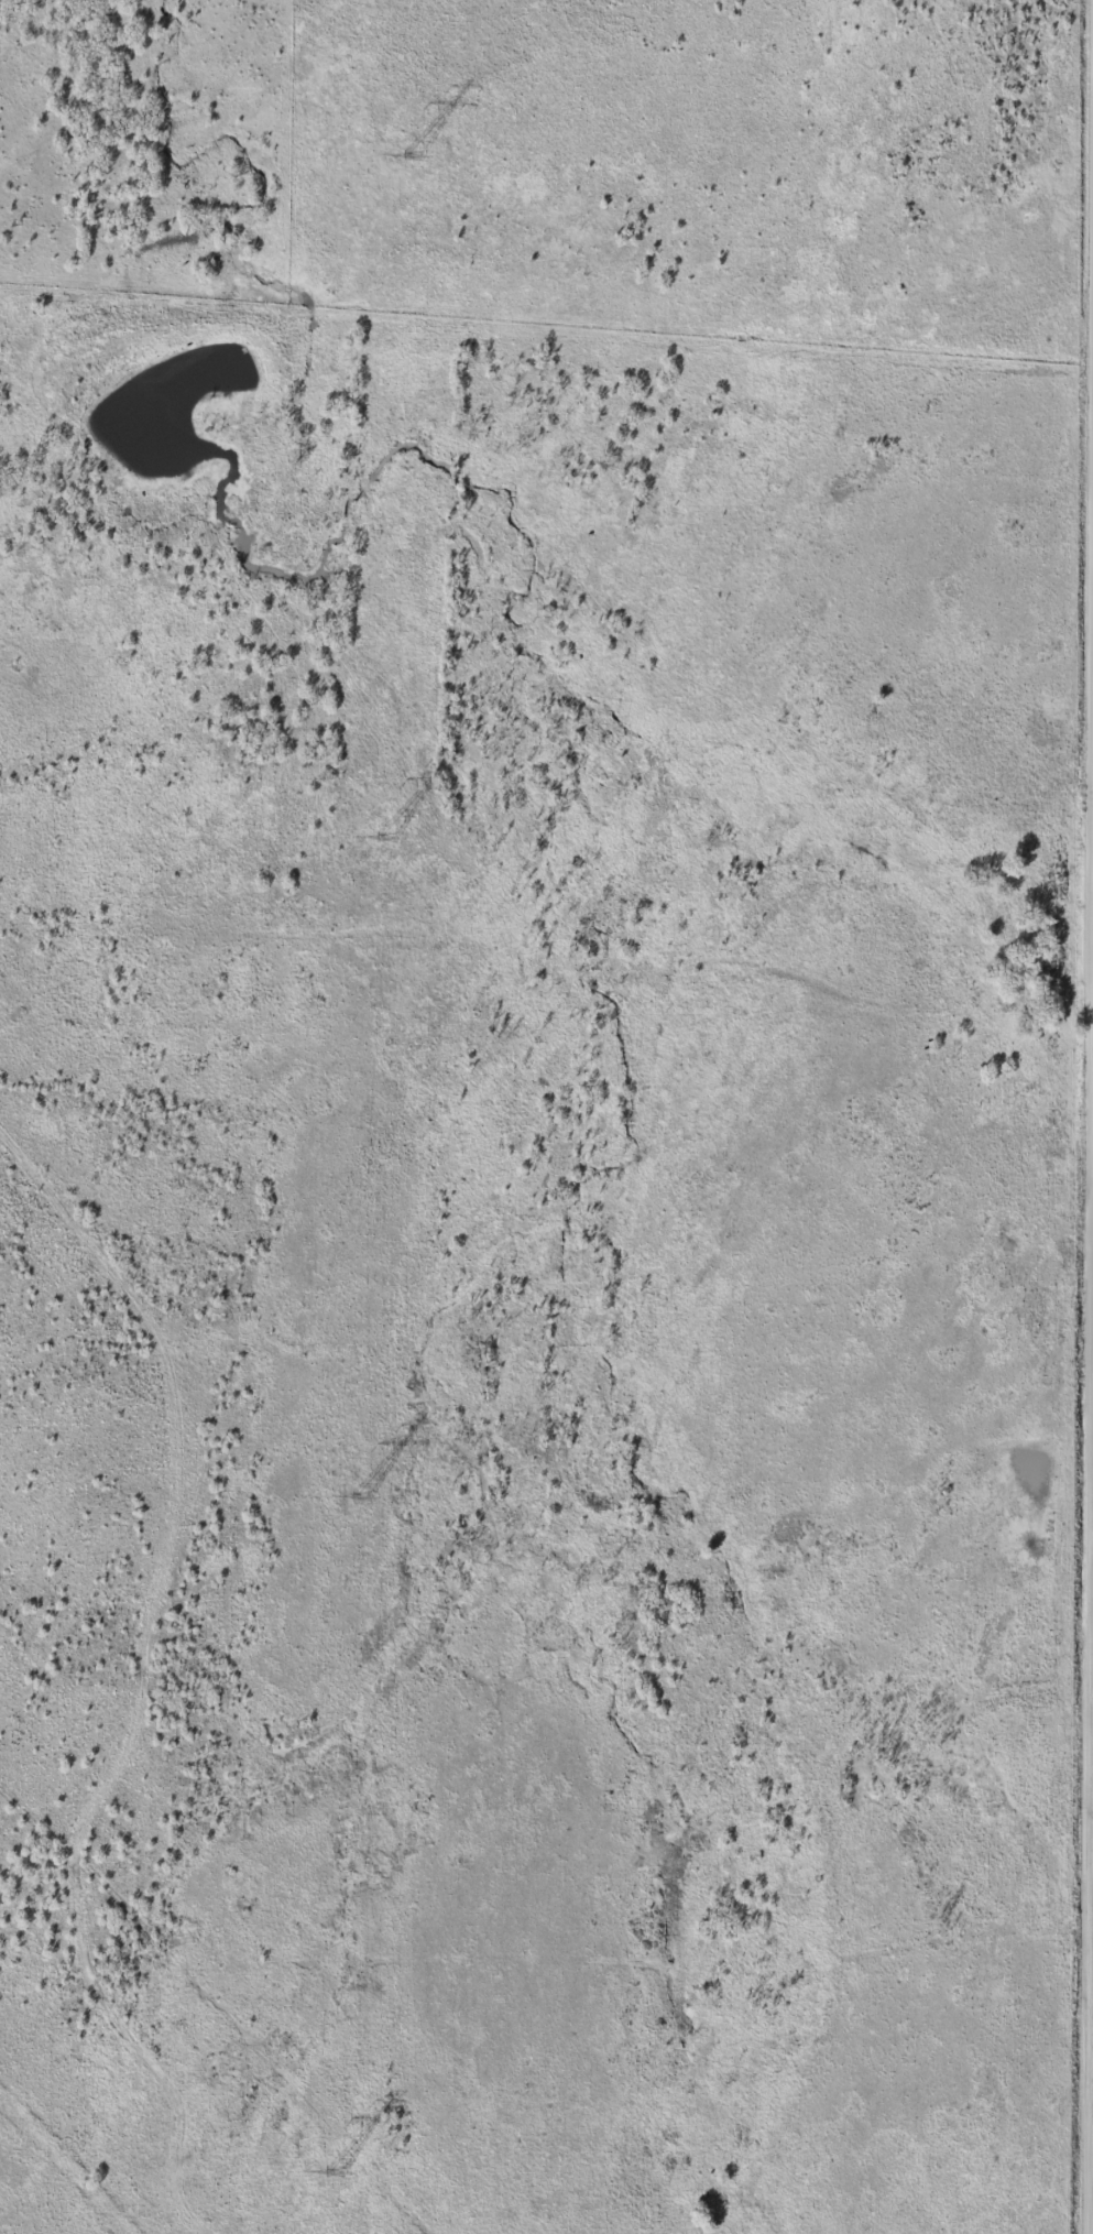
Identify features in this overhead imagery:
power tower: (412, 155)
power tower: (384, 833)
power tower: (360, 1495)
road: (211, 2022)
power tower: (331, 2169)

